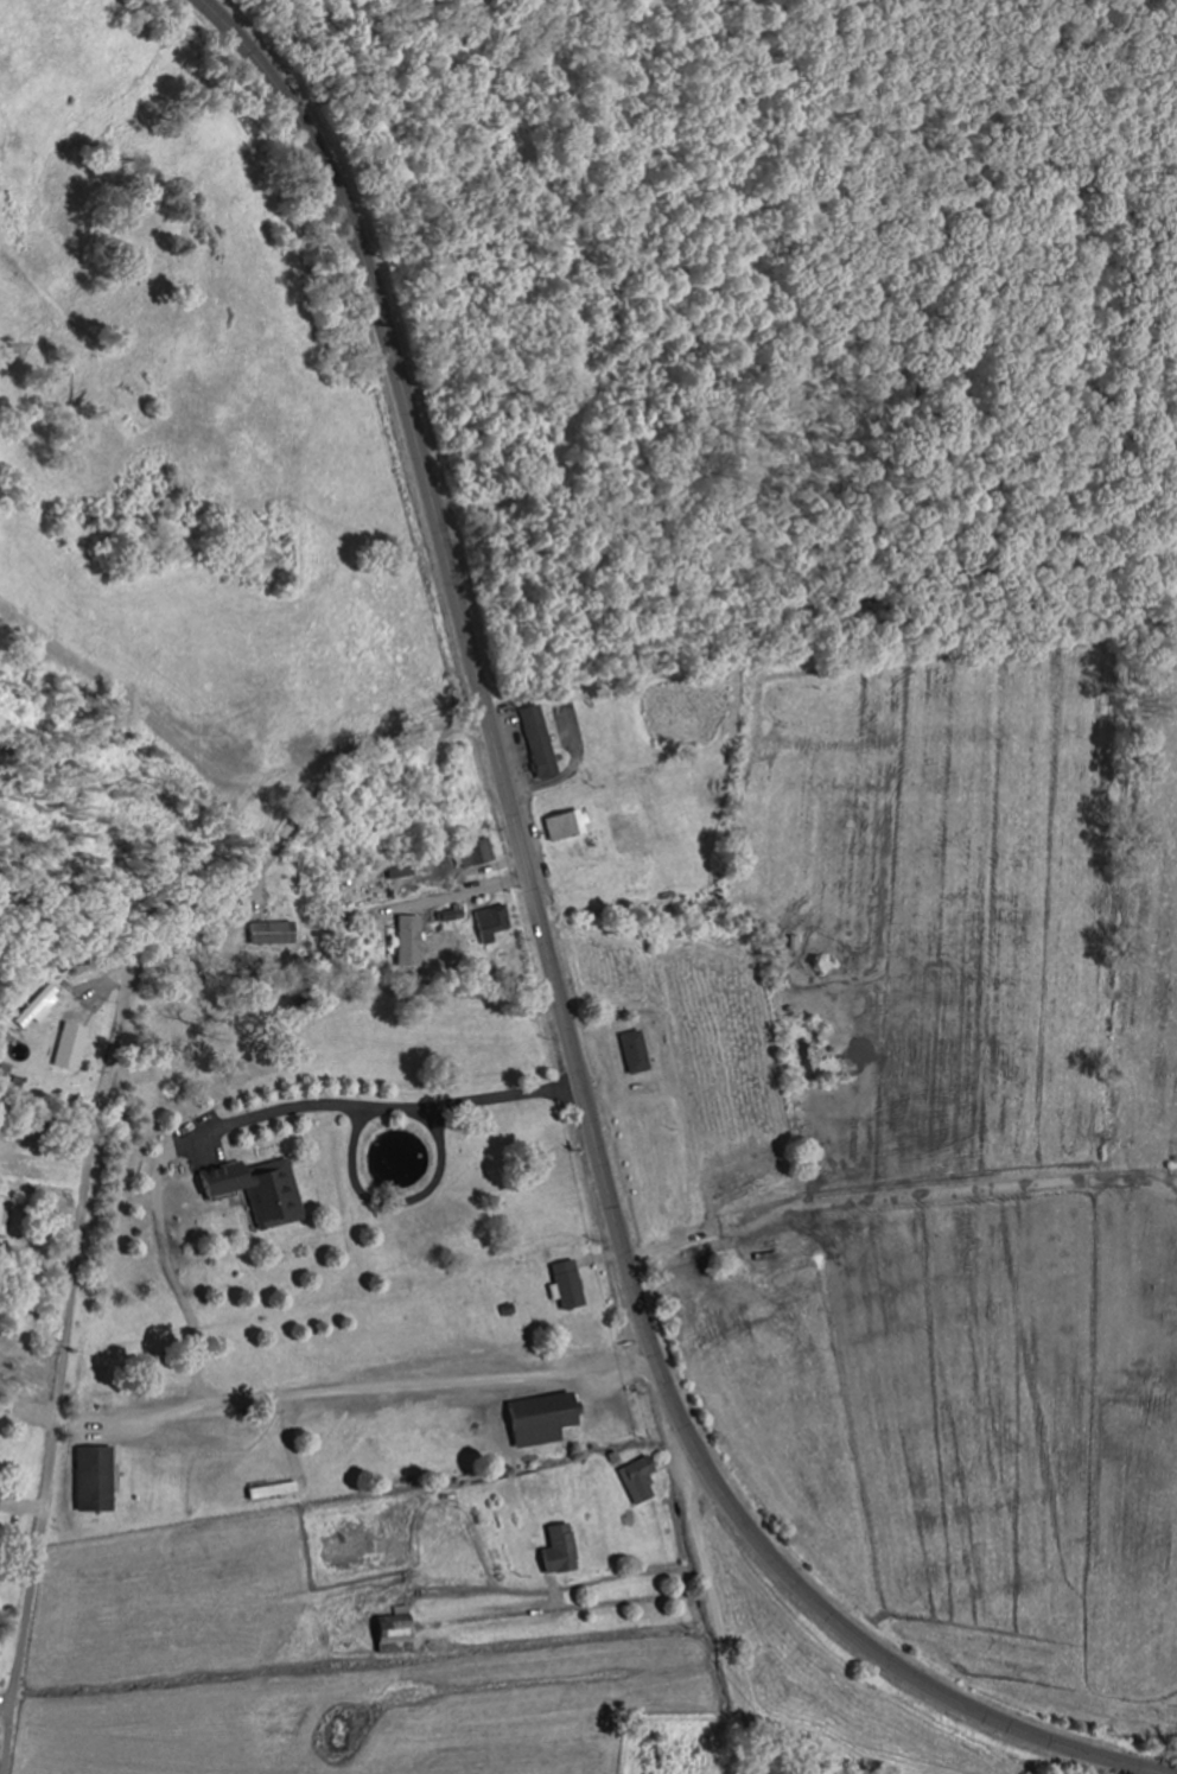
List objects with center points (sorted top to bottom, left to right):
building: (534, 742)
building: (386, 793)
building: (330, 808)
building: (564, 824)
building: (475, 851)
building: (397, 870)
building: (403, 889)
building: (490, 922)
building: (266, 927)
road: (556, 990)
building: (40, 1005)
building: (68, 1047)
building: (632, 1051)
road: (380, 1104)
road: (93, 1144)
building: (257, 1189)
building: (2, 1213)
road: (165, 1265)
building: (524, 1272)
building: (565, 1284)
road: (354, 1386)
building: (537, 1417)
building: (93, 1476)
building: (637, 1477)
building: (558, 1549)
road: (724, 1605)
building: (392, 1630)
building: (679, 1759)

